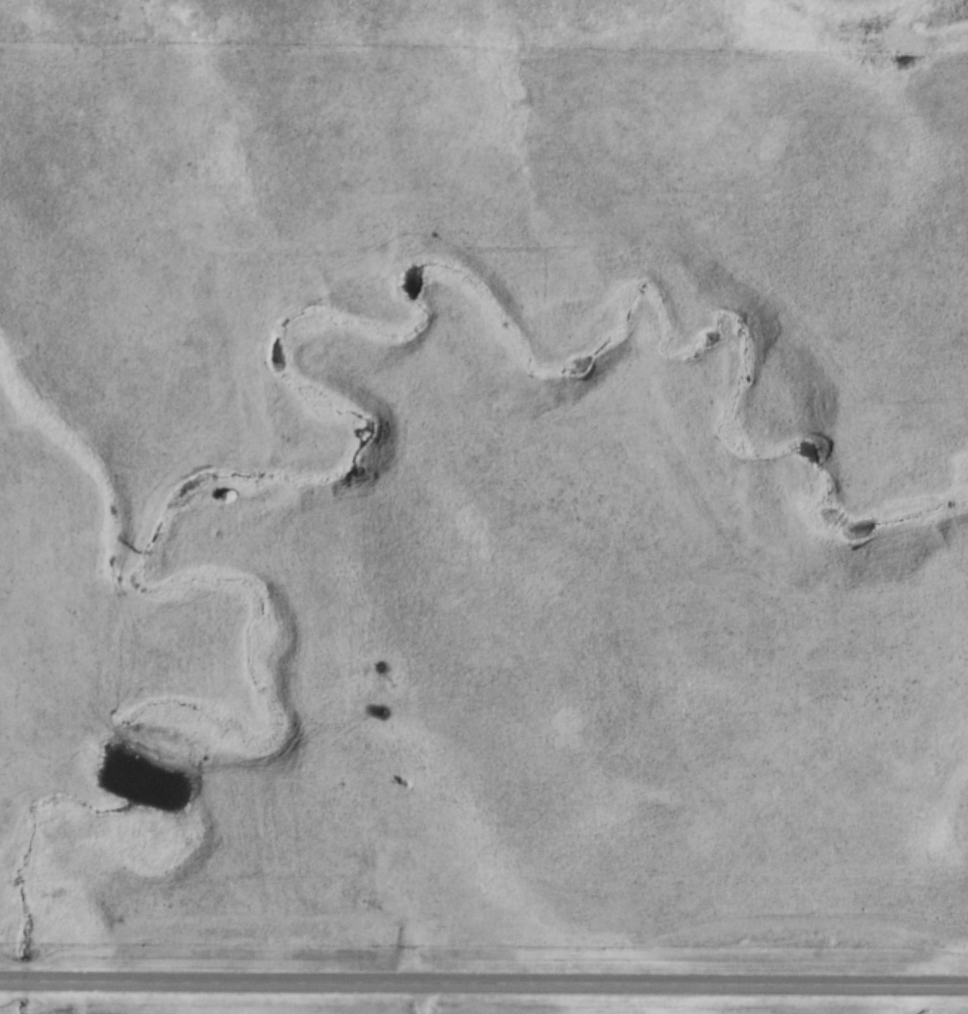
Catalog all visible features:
road: (484, 983)

